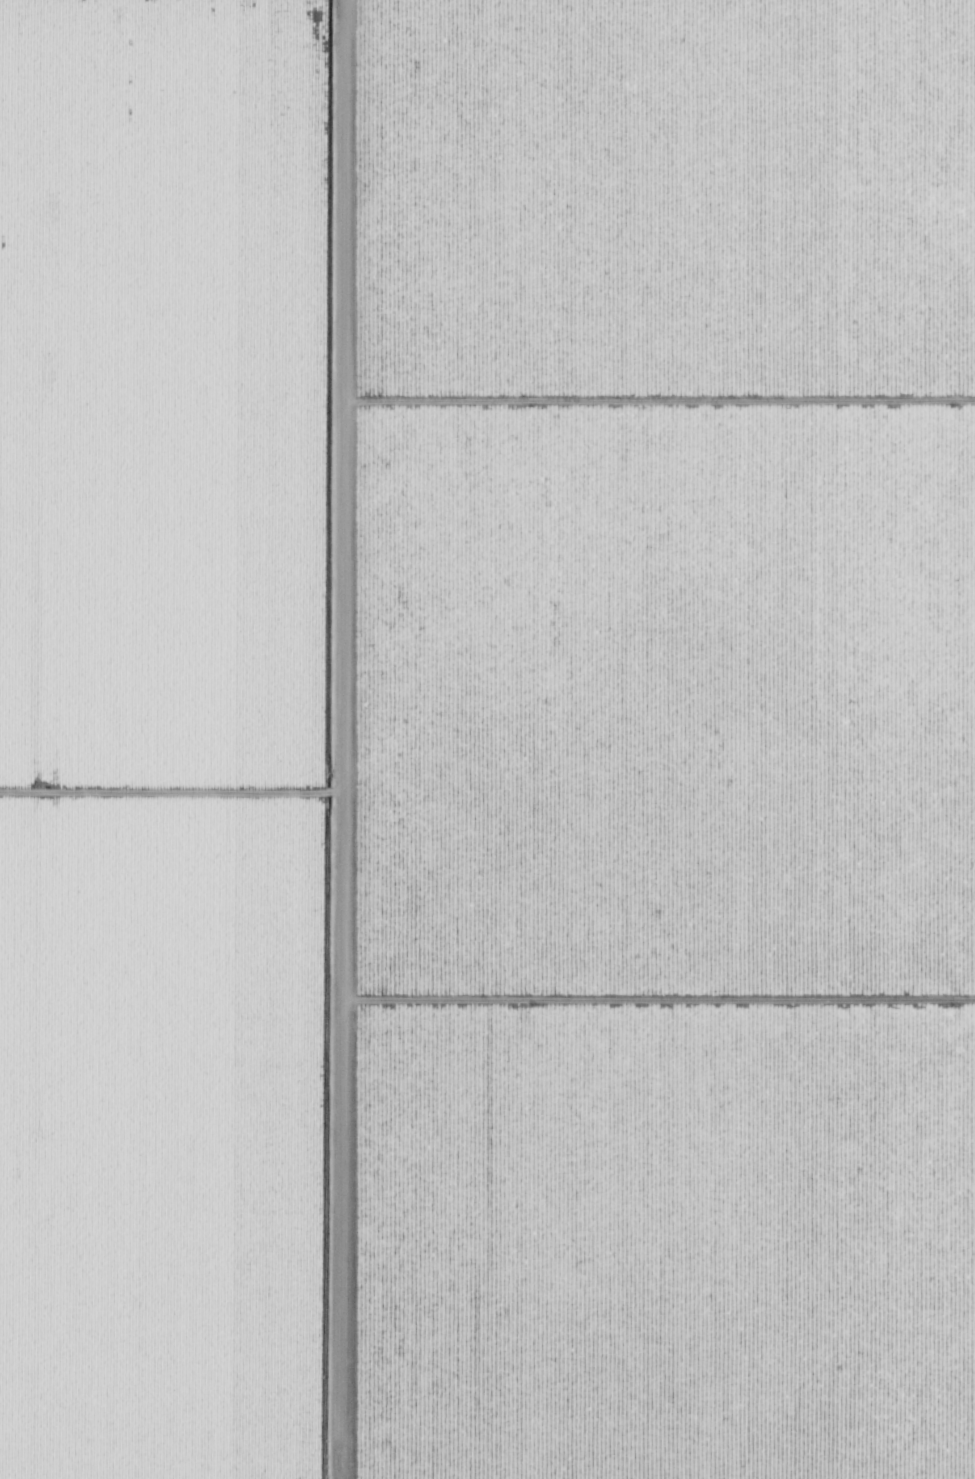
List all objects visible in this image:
road: (302, 739)
crop: (170, 740)

